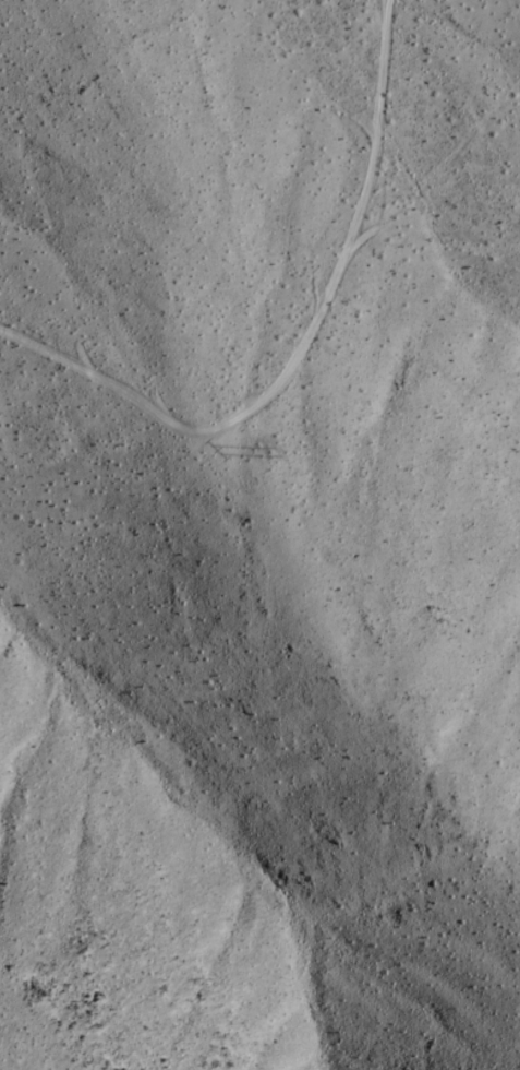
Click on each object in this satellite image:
road: (309, 355)
power tower: (269, 444)

